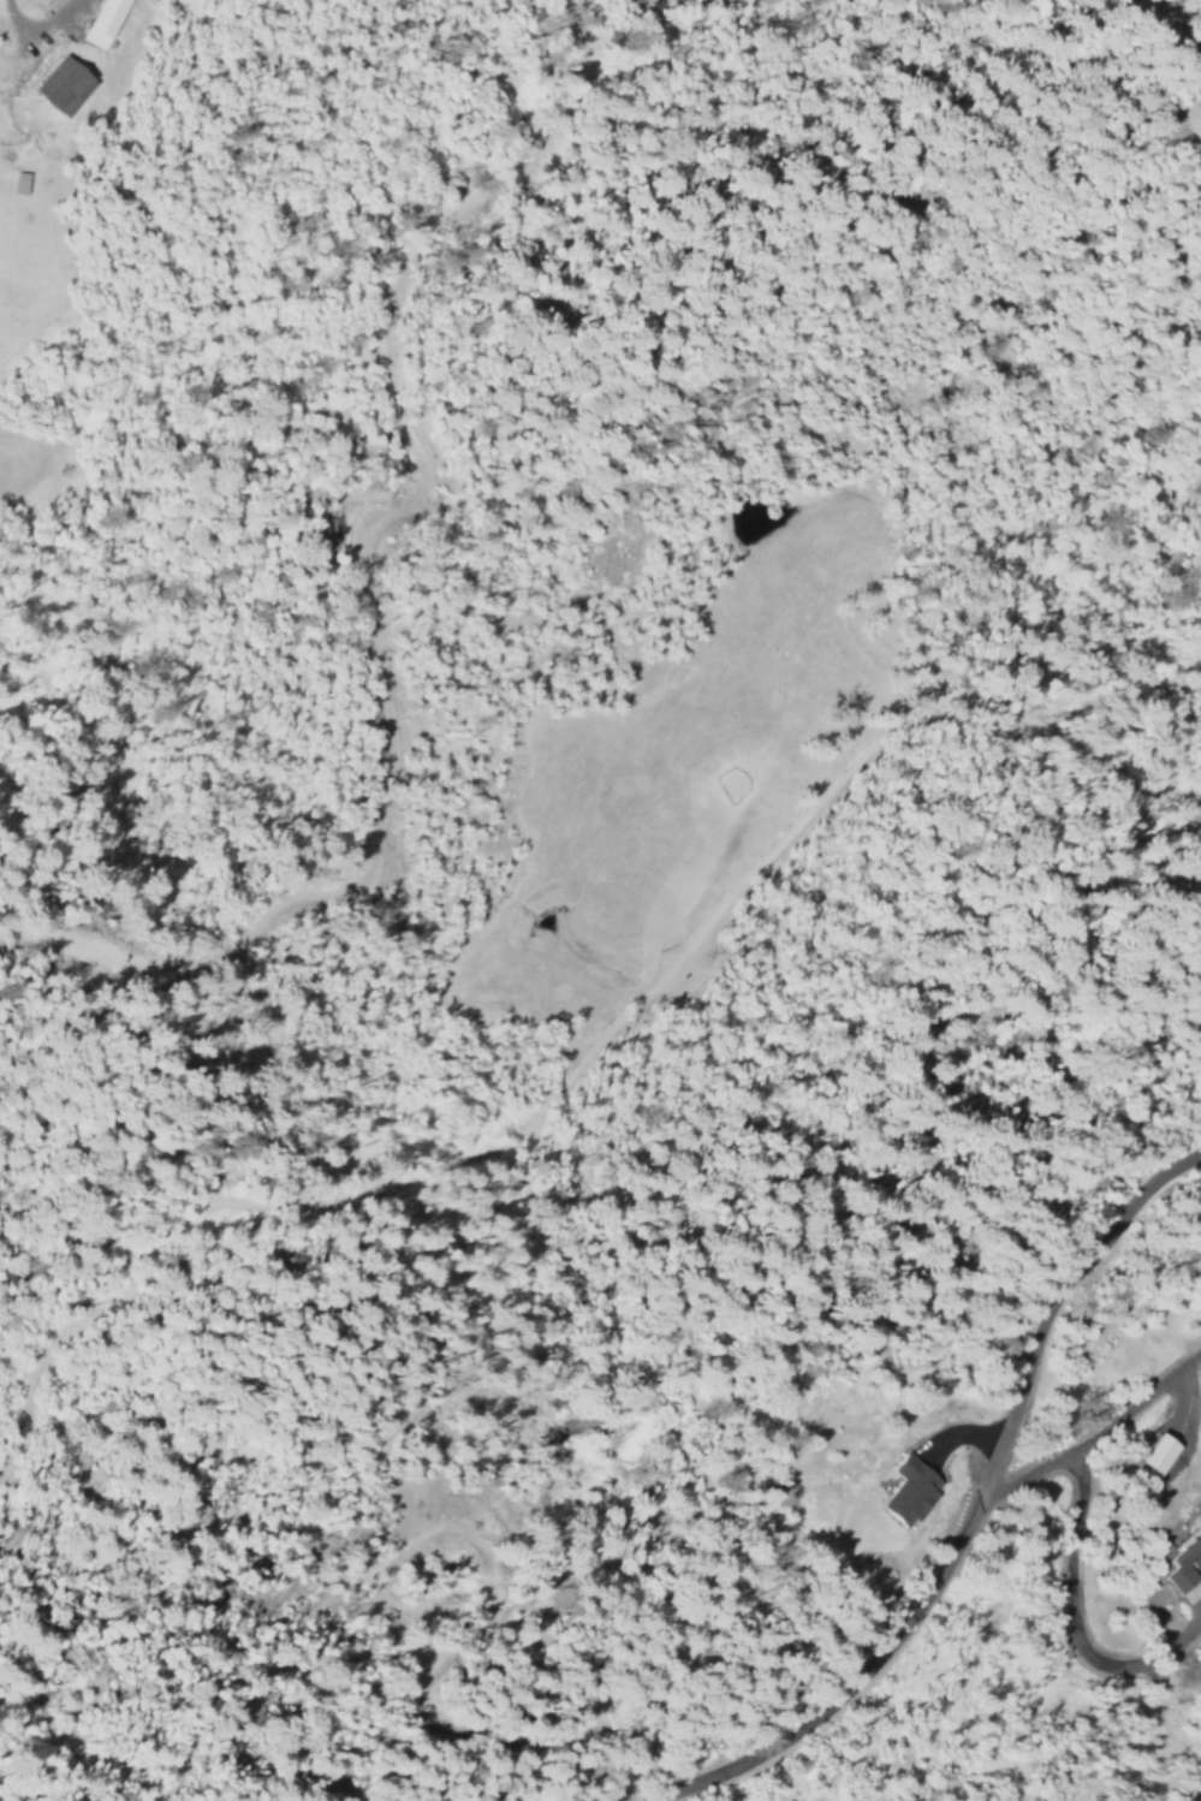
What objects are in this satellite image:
building: (101, 22)
building: (60, 84)
road: (1086, 1261)
road: (1094, 1432)
building: (1160, 1454)
building: (910, 1491)
road: (1178, 1516)
building: (1190, 1569)
road: (882, 1646)
road: (1195, 1793)

